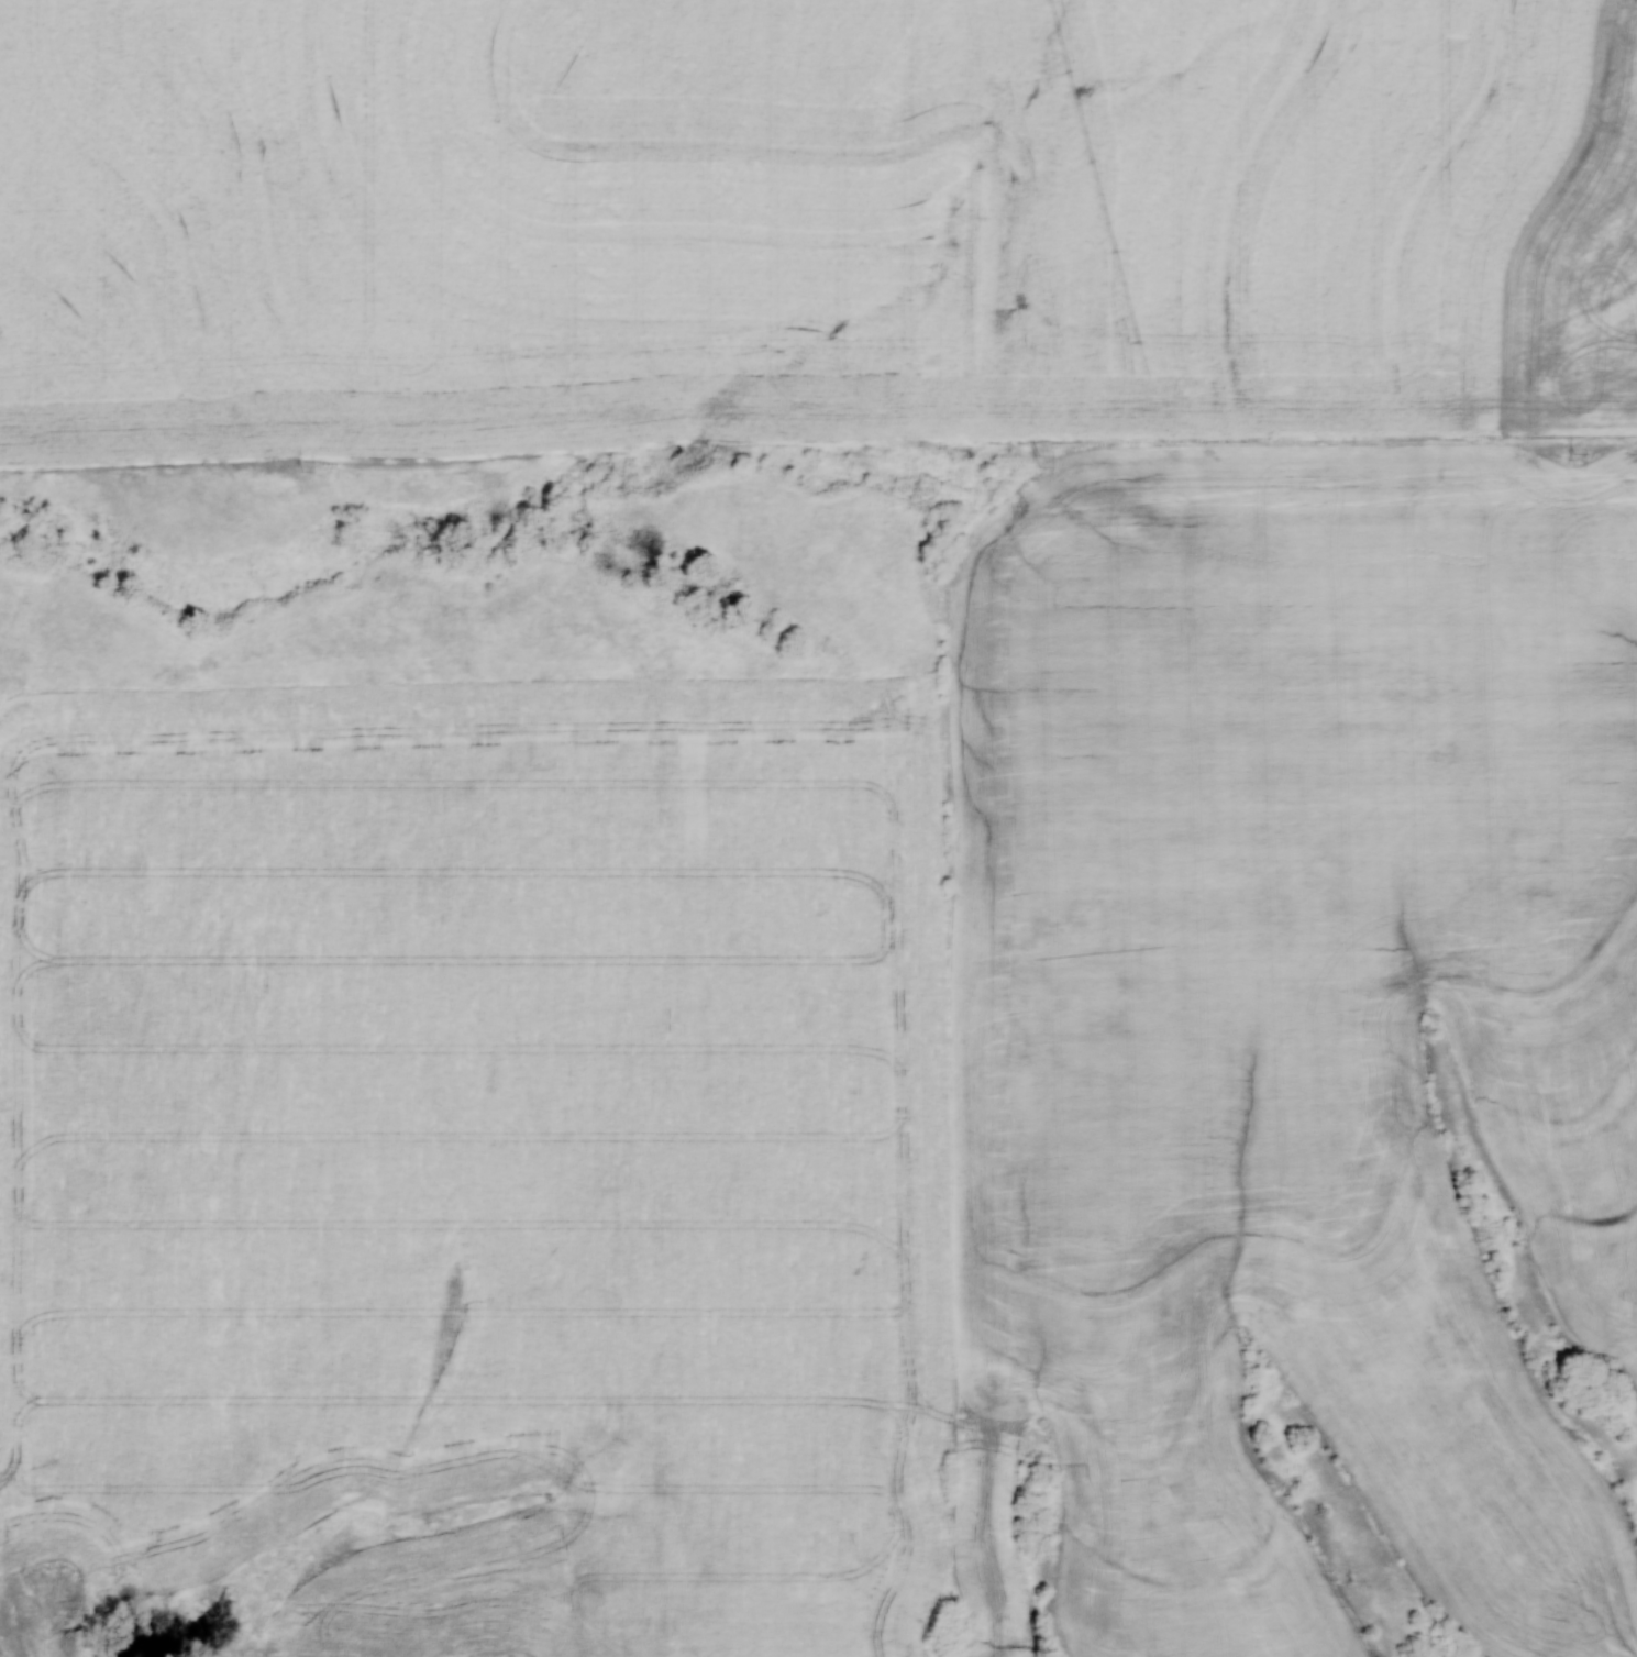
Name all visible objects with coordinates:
power tower: (1572, 459)
power tower: (1038, 462)
power tower: (301, 466)

